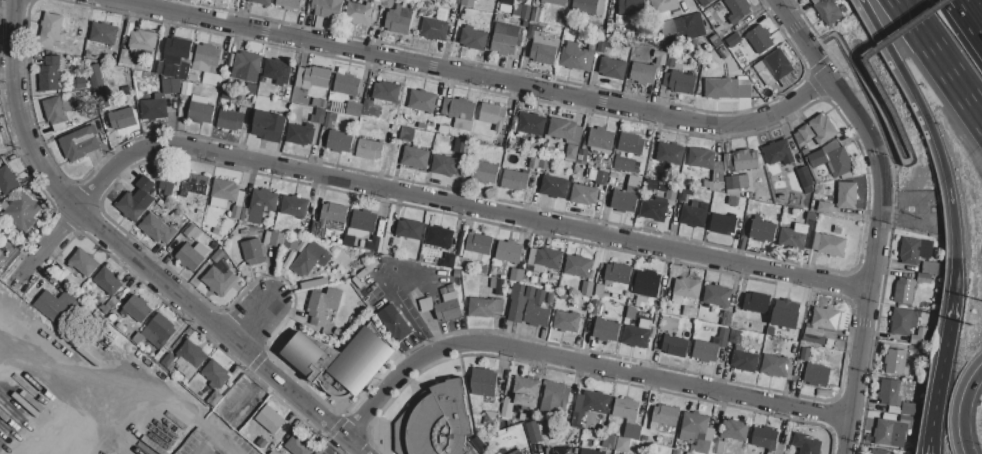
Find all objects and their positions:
building: (524, 0)
building: (816, 1)
building: (262, 2)
building: (377, 2)
building: (468, 2)
building: (508, 2)
building: (557, 2)
building: (704, 2)
building: (388, 3)
building: (290, 4)
building: (314, 4)
building: (585, 5)
building: (664, 5)
building: (600, 7)
building: (631, 8)
building: (329, 9)
building: (518, 10)
building: (737, 10)
building: (359, 12)
building: (525, 12)
building: (714, 12)
building: (830, 12)
road: (973, 12)
building: (536, 14)
building: (309, 17)
building: (399, 20)
building: (51, 29)
building: (435, 29)
building: (507, 30)
building: (533, 30)
building: (103, 33)
building: (473, 38)
building: (760, 38)
building: (733, 40)
building: (143, 41)
building: (715, 41)
building: (504, 43)
building: (593, 43)
building: (604, 44)
building: (544, 49)
building: (724, 52)
building: (89, 54)
building: (115, 56)
building: (573, 56)
road: (941, 56)
building: (177, 57)
building: (660, 57)
building: (126, 58)
building: (207, 58)
building: (231, 60)
building: (672, 60)
building: (247, 62)
building: (589, 62)
building: (597, 62)
building: (613, 68)
building: (775, 68)
building: (277, 71)
building: (643, 73)
building: (50, 74)
building: (96, 77)
building: (317, 77)
road: (476, 78)
building: (258, 79)
building: (302, 79)
building: (264, 80)
building: (680, 82)
building: (79, 83)
building: (347, 84)
building: (171, 86)
building: (741, 87)
building: (187, 88)
building: (718, 88)
building: (386, 91)
building: (296, 95)
building: (423, 100)
building: (319, 102)
building: (446, 106)
building: (154, 107)
building: (372, 107)
building: (354, 109)
building: (201, 110)
building: (56, 112)
building: (462, 113)
building: (493, 115)
building: (318, 116)
building: (123, 118)
building: (232, 119)
building: (330, 119)
building: (532, 123)
building: (269, 126)
building: (823, 128)
building: (444, 129)
building: (806, 132)
building: (300, 134)
building: (407, 134)
building: (567, 135)
building: (601, 139)
building: (0, 141)
building: (339, 141)
building: (80, 143)
building: (631, 143)
building: (0, 144)
road: (937, 144)
building: (460, 146)
building: (584, 146)
building: (369, 149)
road: (909, 149)
building: (805, 151)
building: (670, 152)
building: (779, 152)
building: (415, 158)
building: (702, 158)
building: (817, 158)
building: (838, 158)
building: (534, 160)
building: (741, 160)
building: (544, 162)
building: (623, 164)
building: (445, 165)
building: (485, 171)
building: (602, 177)
building: (665, 177)
building: (718, 178)
building: (805, 179)
building: (8, 180)
building: (515, 180)
building: (168, 181)
building: (744, 182)
building: (732, 183)
building: (195, 184)
building: (652, 184)
building: (553, 186)
building: (663, 186)
building: (685, 192)
building: (672, 193)
building: (584, 194)
building: (847, 195)
building: (227, 196)
road: (415, 196)
building: (137, 199)
building: (624, 201)
building: (733, 201)
building: (259, 206)
building: (295, 206)
building: (825, 207)
building: (654, 208)
building: (22, 211)
road: (885, 212)
building: (694, 214)
building: (811, 217)
building: (330, 219)
building: (723, 223)
building: (157, 227)
building: (360, 227)
building: (409, 228)
building: (762, 229)
building: (838, 229)
building: (216, 231)
building: (192, 232)
building: (1, 233)
building: (440, 236)
building: (794, 236)
building: (275, 238)
building: (291, 241)
building: (373, 243)
building: (829, 244)
building: (477, 247)
building: (915, 250)
building: (253, 251)
building: (509, 251)
building: (1, 253)
building: (192, 255)
building: (218, 255)
building: (325, 257)
road: (134, 258)
building: (544, 259)
building: (83, 261)
building: (448, 261)
building: (305, 262)
building: (332, 266)
building: (578, 266)
building: (930, 267)
building: (617, 273)
building: (516, 274)
building: (924, 277)
building: (219, 279)
building: (108, 281)
building: (647, 283)
building: (58, 287)
building: (499, 287)
building: (587, 288)
building: (686, 289)
building: (410, 290)
building: (444, 290)
building: (904, 290)
building: (86, 291)
building: (600, 291)
building: (717, 295)
building: (550, 296)
building: (633, 300)
building: (757, 302)
building: (56, 304)
building: (323, 304)
building: (427, 304)
building: (108, 305)
building: (529, 305)
building: (448, 306)
building: (594, 306)
building: (485, 307)
building: (137, 308)
building: (690, 311)
building: (785, 313)
road: (405, 314)
building: (727, 318)
building: (826, 318)
building: (567, 320)
building: (902, 321)
building: (394, 322)
road: (256, 324)
building: (669, 324)
power tower: (972, 325)
building: (123, 326)
building: (132, 329)
building: (159, 330)
building: (606, 330)
building: (771, 330)
road: (44, 331)
building: (822, 332)
building: (724, 333)
building: (638, 334)
building: (919, 336)
building: (814, 338)
building: (738, 339)
building: (836, 343)
building: (676, 346)
building: (708, 350)
building: (302, 352)
building: (192, 353)
building: (805, 354)
building: (168, 360)
building: (361, 360)
building: (745, 361)
building: (897, 362)
road: (584, 365)
building: (775, 365)
building: (315, 372)
building: (216, 374)
building: (817, 375)
road: (940, 380)
building: (483, 382)
road: (71, 389)
building: (525, 392)
building: (890, 393)
road: (250, 395)
road: (170, 397)
building: (555, 399)
road: (959, 404)
building: (508, 405)
building: (589, 406)
building: (906, 409)
building: (664, 416)
building: (628, 417)
building: (270, 419)
building: (440, 421)
building: (912, 423)
road: (110, 429)
building: (735, 429)
building: (539, 431)
building: (696, 431)
building: (891, 433)
road: (216, 435)
building: (765, 437)
parking lot: (215, 440)
building: (263, 442)
building: (609, 442)
building: (671, 442)
building: (298, 444)
building: (806, 444)
building: (623, 445)
building: (717, 446)
building: (908, 446)
building: (777, 449)
road: (352, 450)
building: (559, 451)
building: (591, 451)
building: (879, 451)
building: (516, 452)
building: (273, 453)
building: (689, 453)

